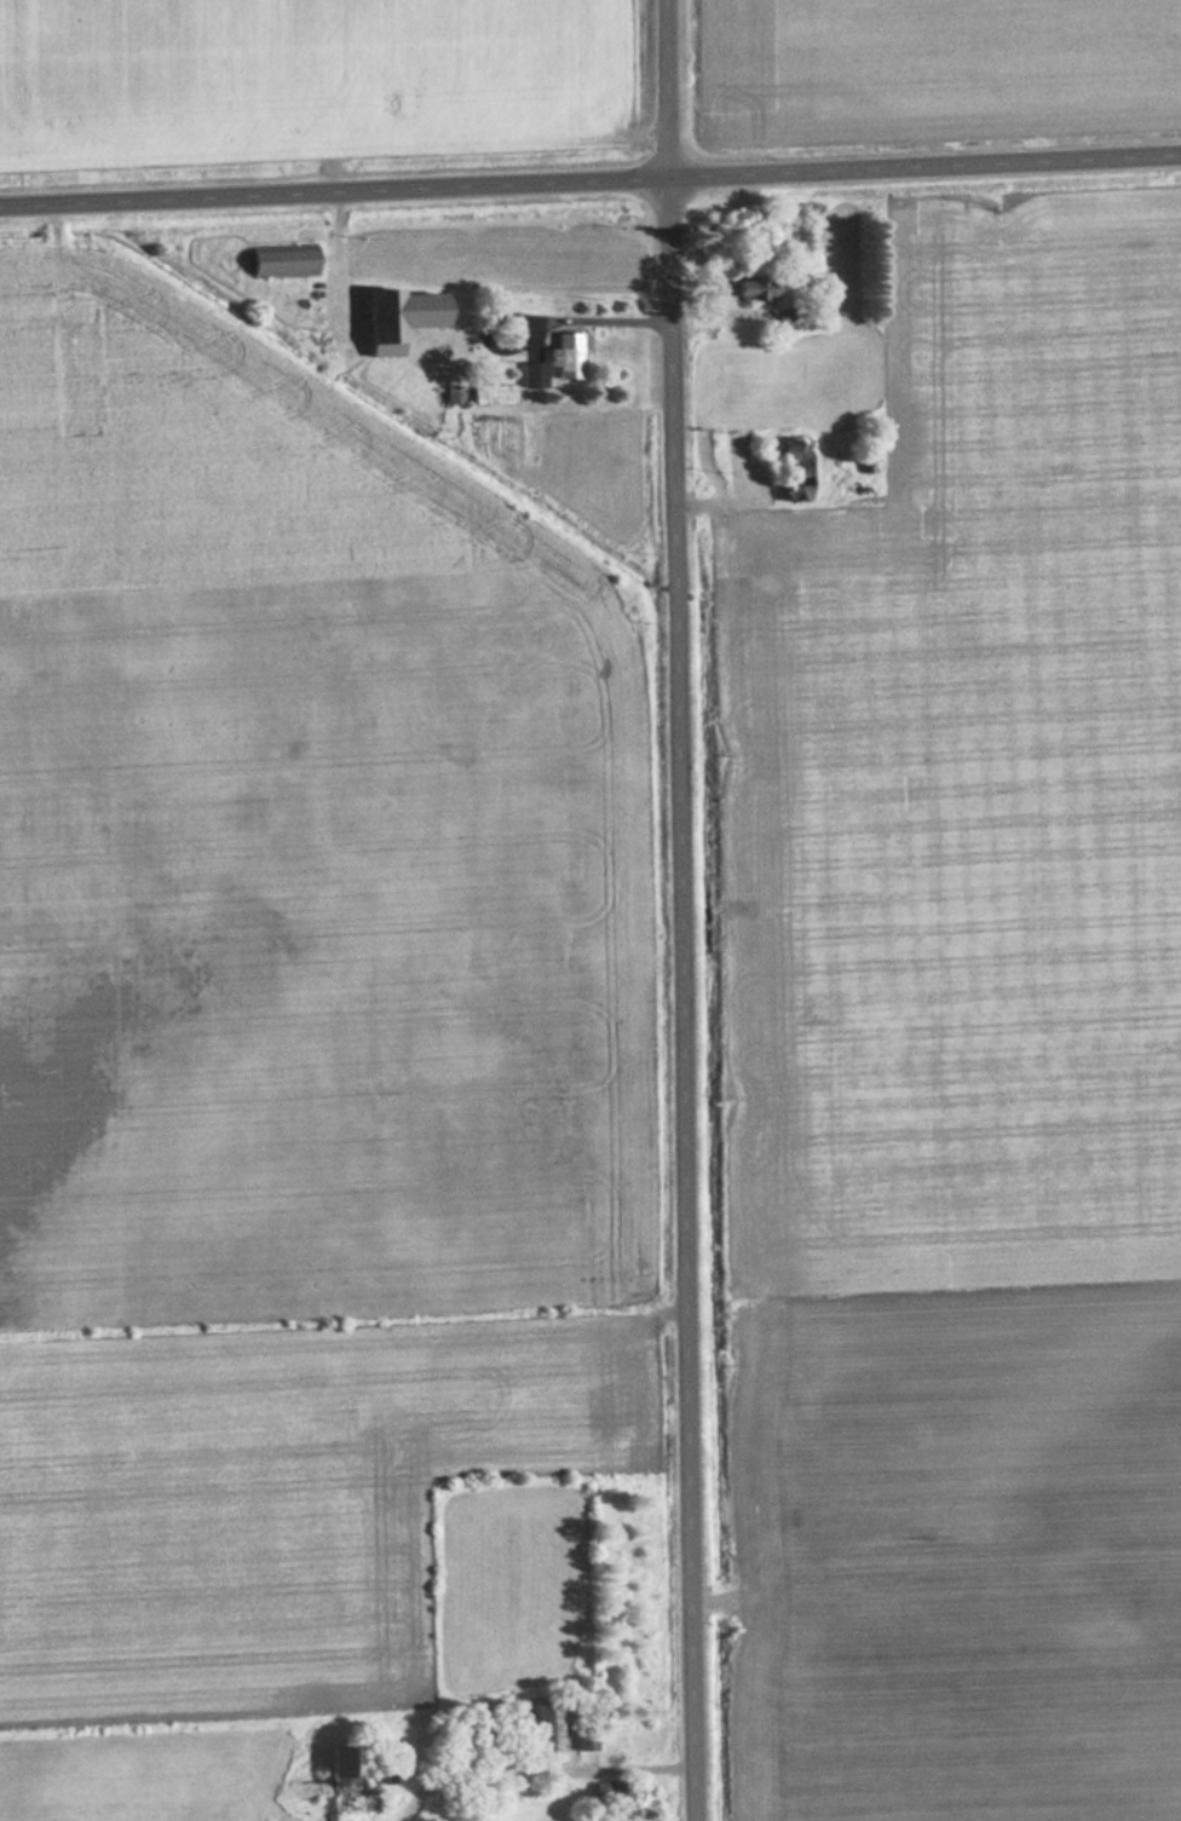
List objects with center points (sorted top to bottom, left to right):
road: (589, 178)
building: (284, 263)
building: (759, 287)
building: (405, 317)
building: (569, 355)
building: (800, 469)
road: (682, 910)
building: (546, 1724)
building: (353, 1779)
building: (610, 1791)

